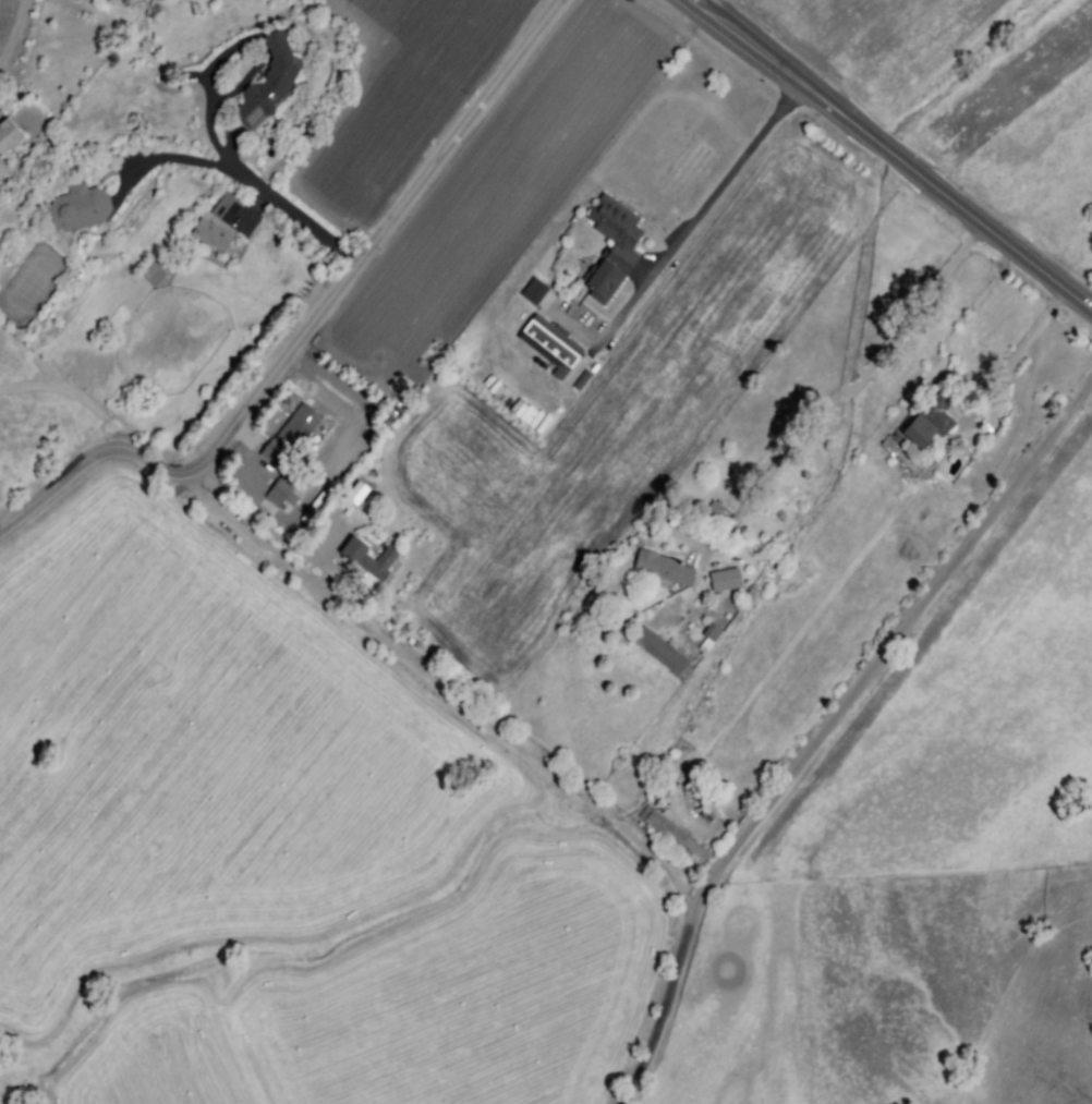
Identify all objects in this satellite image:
road: (11, 27)
building: (315, 46)
building: (267, 82)
crop: (404, 102)
road: (211, 109)
building: (8, 134)
road: (896, 153)
building: (1, 162)
road: (265, 184)
building: (78, 206)
building: (225, 207)
road: (703, 214)
building: (618, 229)
building: (210, 234)
building: (154, 274)
building: (605, 283)
building: (536, 291)
road: (306, 328)
road: (1032, 331)
building: (551, 345)
building: (582, 383)
road: (848, 388)
building: (933, 420)
building: (298, 428)
building: (351, 434)
building: (272, 457)
building: (355, 492)
building: (283, 494)
building: (324, 513)
building: (380, 562)
building: (662, 568)
building: (726, 581)
building: (712, 634)
building: (662, 652)
road: (440, 687)
road: (828, 726)
building: (672, 834)
crop: (286, 844)

